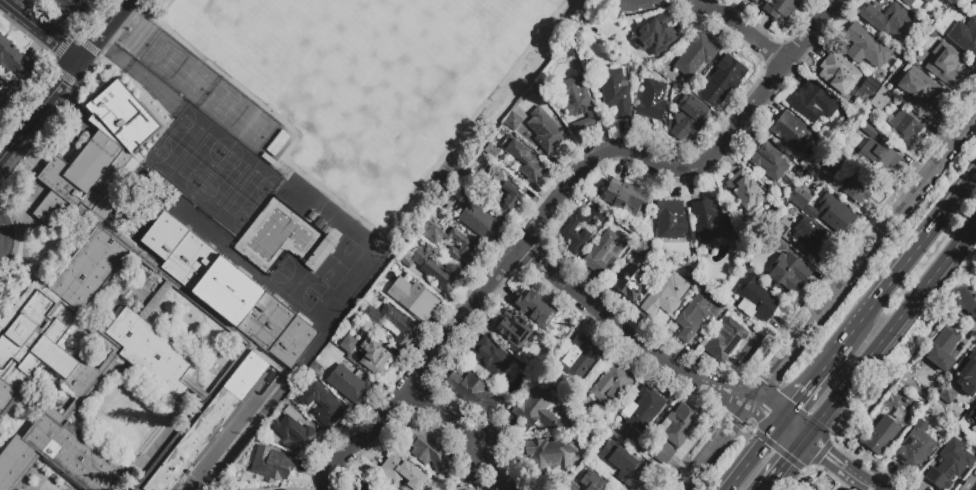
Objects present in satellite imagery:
building: (755, 1)
building: (915, 3)
building: (639, 5)
building: (973, 5)
building: (66, 6)
building: (783, 9)
park: (97, 17)
building: (888, 20)
road: (40, 31)
road: (103, 31)
road: (747, 31)
building: (656, 36)
building: (964, 38)
building: (866, 48)
building: (695, 55)
building: (12, 60)
building: (945, 66)
road: (137, 71)
building: (839, 74)
building: (722, 82)
building: (870, 84)
building: (0, 85)
building: (918, 91)
building: (616, 94)
building: (880, 99)
building: (814, 103)
building: (579, 105)
building: (652, 105)
road: (39, 113)
building: (125, 114)
building: (689, 118)
building: (513, 121)
road: (43, 123)
building: (867, 129)
building: (904, 129)
building: (523, 131)
building: (545, 131)
building: (792, 132)
park: (211, 141)
building: (879, 155)
building: (522, 161)
building: (768, 162)
building: (833, 165)
road: (690, 167)
building: (800, 172)
building: (81, 176)
building: (859, 189)
building: (744, 191)
building: (503, 197)
building: (626, 200)
building: (804, 203)
building: (834, 213)
building: (670, 221)
building: (710, 222)
road: (357, 223)
building: (480, 223)
building: (780, 229)
building: (569, 233)
road: (0, 236)
building: (813, 239)
building: (781, 244)
building: (467, 248)
building: (643, 249)
building: (324, 252)
building: (605, 252)
road: (862, 258)
road: (911, 259)
building: (436, 272)
building: (788, 273)
building: (629, 286)
building: (229, 290)
building: (664, 296)
building: (755, 299)
building: (410, 300)
road: (966, 303)
building: (537, 311)
building: (693, 316)
building: (55, 320)
building: (392, 324)
building: (511, 331)
road: (628, 331)
road: (890, 332)
building: (724, 340)
building: (943, 349)
building: (151, 351)
building: (368, 355)
building: (489, 359)
building: (578, 360)
road: (830, 361)
road: (422, 370)
road: (897, 372)
building: (961, 381)
building: (612, 383)
building: (349, 385)
building: (474, 393)
road: (798, 401)
traffic signals: (797, 404)
building: (323, 405)
road: (767, 407)
building: (645, 411)
road: (765, 411)
building: (539, 412)
traffic signals: (767, 413)
building: (972, 414)
road: (446, 417)
road: (763, 419)
traffic signals: (763, 419)
building: (208, 422)
road: (737, 424)
building: (678, 426)
building: (971, 426)
road: (748, 429)
road: (793, 430)
building: (293, 431)
road: (760, 435)
building: (880, 436)
road: (227, 445)
road: (713, 445)
road: (834, 445)
road: (827, 446)
building: (915, 447)
traffic signals: (830, 449)
building: (427, 452)
building: (551, 452)
road: (820, 453)
building: (664, 454)
road: (785, 454)
traffic signals: (825, 455)
building: (59, 456)
road: (755, 456)
road: (826, 456)
road: (788, 460)
road: (823, 461)
traffic signals: (787, 462)
building: (272, 466)
building: (623, 467)
road: (807, 468)
building: (946, 471)
building: (402, 473)
building: (591, 481)
road: (861, 481)
building: (969, 484)
building: (367, 486)
building: (507, 486)
road: (767, 486)
building: (471, 488)
building: (480, 489)
building: (816, 489)

